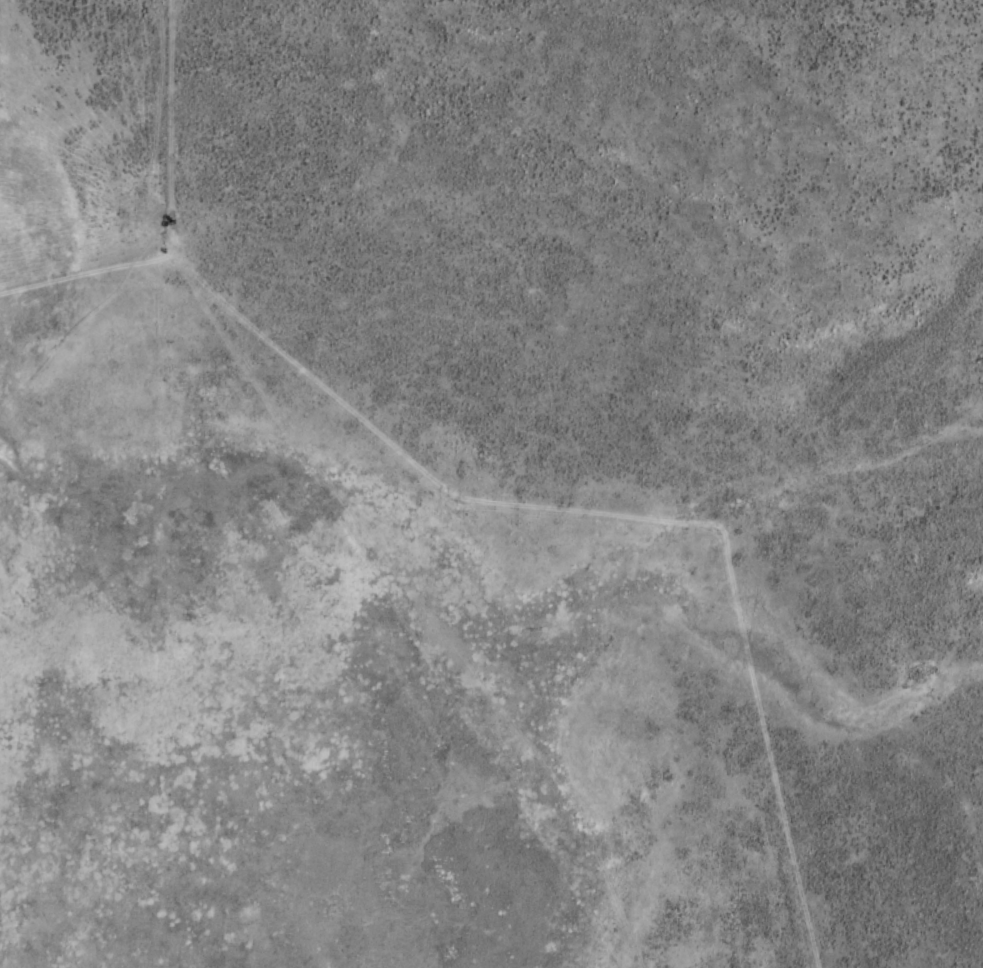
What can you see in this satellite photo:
crop: (491, 484)

